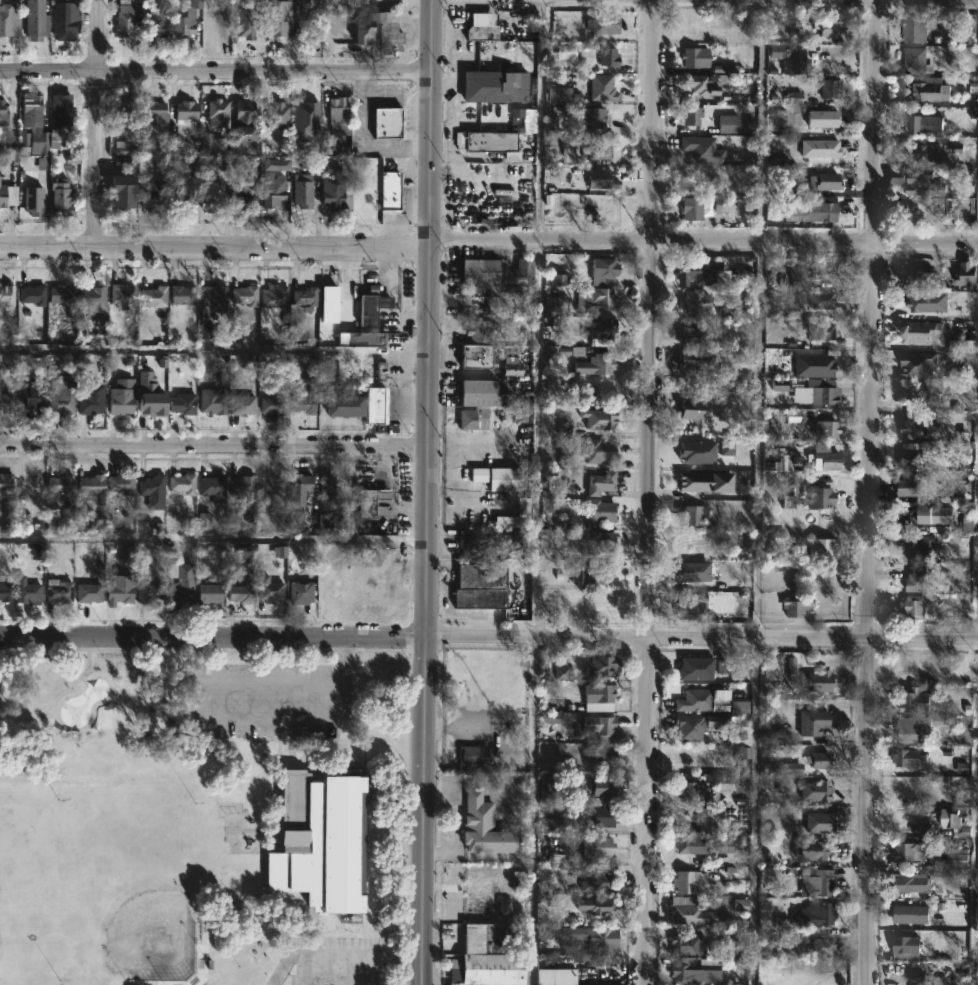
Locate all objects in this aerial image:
road: (952, 0)
building: (359, 1)
building: (276, 18)
building: (9, 19)
building: (124, 19)
building: (246, 19)
building: (35, 20)
building: (63, 20)
building: (186, 21)
building: (155, 24)
building: (601, 24)
building: (313, 26)
building: (831, 28)
building: (916, 30)
building: (377, 32)
building: (482, 32)
building: (608, 57)
building: (695, 58)
building: (796, 61)
building: (917, 62)
road: (214, 72)
building: (699, 85)
building: (486, 86)
building: (602, 88)
building: (829, 89)
building: (930, 90)
building: (60, 103)
building: (185, 110)
building: (218, 111)
building: (3, 113)
building: (154, 113)
building: (124, 114)
building: (338, 115)
building: (277, 116)
building: (692, 116)
building: (594, 118)
building: (823, 119)
road: (539, 121)
road: (93, 123)
building: (388, 123)
building: (922, 124)
building: (242, 127)
building: (38, 130)
building: (491, 141)
building: (584, 147)
building: (822, 148)
building: (926, 153)
building: (72, 168)
building: (0, 176)
building: (601, 180)
building: (916, 181)
building: (825, 182)
building: (272, 190)
building: (302, 191)
building: (390, 191)
building: (336, 193)
building: (153, 194)
building: (247, 194)
building: (2, 196)
building: (211, 197)
building: (60, 198)
building: (180, 200)
building: (32, 201)
building: (122, 201)
building: (723, 206)
building: (691, 208)
building: (810, 211)
road: (702, 244)
road: (213, 246)
building: (524, 271)
building: (603, 271)
building: (480, 272)
building: (690, 272)
building: (801, 275)
building: (968, 275)
building: (924, 276)
building: (728, 278)
building: (121, 294)
building: (6, 295)
building: (31, 295)
building: (62, 295)
building: (91, 297)
building: (181, 297)
building: (243, 297)
building: (275, 297)
building: (305, 297)
building: (329, 298)
building: (153, 299)
building: (597, 299)
building: (508, 300)
building: (696, 301)
building: (823, 302)
building: (931, 302)
building: (554, 305)
building: (372, 308)
building: (204, 315)
building: (600, 328)
building: (820, 329)
building: (481, 331)
building: (920, 332)
building: (693, 336)
building: (364, 340)
road: (213, 349)
building: (476, 357)
building: (693, 361)
building: (597, 365)
building: (512, 367)
building: (0, 383)
building: (817, 392)
building: (91, 395)
building: (917, 395)
building: (151, 396)
building: (121, 397)
building: (60, 399)
building: (5, 401)
building: (212, 402)
building: (302, 402)
building: (274, 403)
building: (479, 403)
building: (30, 404)
building: (182, 405)
building: (242, 405)
building: (374, 406)
building: (344, 407)
building: (692, 410)
building: (598, 419)
building: (924, 427)
building: (827, 430)
road: (537, 441)
road: (213, 444)
building: (600, 451)
building: (829, 459)
building: (915, 459)
building: (505, 480)
building: (59, 483)
building: (601, 483)
building: (6, 484)
building: (89, 484)
building: (121, 484)
building: (182, 484)
building: (302, 484)
building: (707, 484)
building: (212, 487)
building: (242, 487)
building: (328, 487)
building: (911, 487)
building: (153, 491)
road: (425, 492)
road: (650, 492)
road: (870, 492)
building: (820, 498)
building: (370, 502)
building: (523, 507)
building: (599, 512)
building: (693, 516)
building: (934, 516)
building: (296, 521)
building: (520, 538)
building: (482, 541)
building: (599, 543)
building: (924, 547)
building: (821, 548)
building: (691, 549)
building: (268, 566)
building: (693, 573)
building: (594, 575)
building: (918, 581)
building: (299, 583)
building: (181, 584)
building: (481, 588)
building: (120, 590)
building: (26, 591)
building: (5, 592)
building: (58, 592)
building: (242, 592)
building: (88, 593)
building: (271, 593)
building: (149, 594)
building: (209, 594)
road: (977, 602)
building: (689, 605)
building: (604, 607)
building: (796, 607)
building: (917, 608)
road: (212, 636)
road: (701, 639)
building: (602, 665)
building: (696, 667)
building: (723, 667)
building: (820, 681)
building: (598, 695)
parking lot: (270, 698)
building: (700, 700)
building: (916, 700)
water park: (81, 704)
road: (269, 720)
building: (814, 722)
building: (599, 724)
building: (687, 728)
building: (910, 730)
building: (778, 737)
building: (601, 754)
building: (472, 755)
building: (909, 757)
building: (820, 761)
building: (783, 768)
building: (725, 784)
building: (603, 787)
building: (692, 789)
building: (816, 790)
road: (532, 811)
road: (976, 813)
building: (600, 816)
park: (199, 818)
park: (200, 818)
building: (820, 822)
building: (958, 824)
building: (484, 826)
building: (318, 840)
building: (691, 845)
building: (598, 846)
building: (813, 850)
building: (909, 851)
building: (957, 857)
park: (97, 877)
building: (687, 881)
building: (819, 882)
building: (598, 883)
building: (911, 886)
building: (740, 906)
building: (593, 907)
building: (699, 910)
building: (822, 914)
building: (909, 915)
building: (601, 939)
building: (688, 944)
building: (906, 944)
building: (823, 947)
road: (340, 954)
building: (488, 956)
parking lot: (341, 957)
building: (709, 966)
building: (556, 976)

